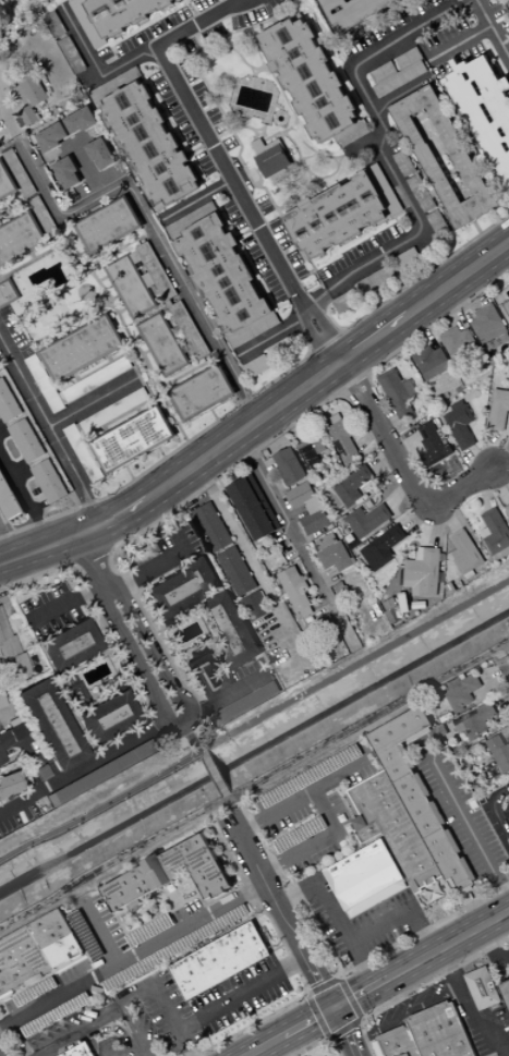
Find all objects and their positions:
road: (249, 0)
building: (404, 0)
building: (183, 1)
road: (323, 7)
park: (15, 11)
road: (194, 11)
building: (355, 11)
building: (124, 13)
building: (88, 23)
building: (56, 24)
road: (492, 29)
road: (244, 33)
road: (459, 44)
building: (73, 56)
road: (140, 57)
road: (246, 63)
road: (264, 66)
road: (253, 72)
road: (259, 72)
building: (398, 72)
building: (315, 83)
building: (117, 84)
building: (33, 92)
building: (78, 93)
road: (402, 93)
building: (102, 105)
building: (486, 107)
building: (87, 108)
building: (28, 117)
road: (9, 118)
building: (80, 122)
road: (238, 128)
road: (294, 130)
road: (233, 133)
building: (57, 135)
road: (256, 135)
building: (152, 145)
building: (266, 146)
road: (380, 146)
road: (9, 147)
building: (72, 147)
building: (100, 154)
road: (43, 157)
road: (308, 157)
road: (331, 157)
road: (335, 160)
building: (274, 161)
building: (405, 163)
road: (228, 170)
road: (259, 170)
building: (471, 171)
road: (308, 172)
building: (20, 173)
building: (66, 173)
road: (258, 174)
building: (280, 177)
road: (311, 179)
building: (7, 182)
road: (310, 185)
road: (73, 187)
building: (386, 190)
building: (422, 194)
road: (291, 196)
road: (197, 199)
road: (16, 205)
building: (161, 207)
road: (3, 209)
road: (8, 211)
road: (493, 214)
building: (43, 215)
road: (4, 216)
road: (80, 217)
building: (339, 217)
building: (192, 220)
building: (439, 223)
building: (109, 226)
road: (153, 229)
road: (477, 229)
building: (180, 238)
building: (21, 240)
road: (65, 241)
road: (119, 245)
road: (124, 246)
road: (34, 256)
building: (408, 259)
road: (33, 260)
road: (88, 263)
road: (83, 266)
road: (93, 267)
road: (87, 271)
road: (78, 272)
building: (225, 275)
road: (1, 277)
road: (458, 277)
building: (148, 280)
building: (377, 280)
building: (131, 287)
building: (8, 293)
road: (116, 298)
road: (315, 299)
road: (108, 300)
road: (462, 301)
building: (347, 302)
building: (169, 303)
road: (303, 304)
road: (110, 305)
building: (507, 306)
road: (453, 308)
road: (122, 311)
road: (331, 319)
road: (296, 321)
road: (434, 324)
building: (490, 327)
road: (425, 329)
road: (58, 330)
building: (253, 331)
road: (330, 332)
road: (375, 337)
road: (137, 339)
road: (305, 340)
road: (260, 342)
road: (316, 342)
building: (458, 343)
building: (162, 344)
building: (83, 349)
building: (281, 349)
road: (146, 352)
road: (143, 355)
road: (110, 360)
building: (432, 363)
road: (105, 365)
building: (258, 366)
road: (156, 372)
road: (187, 373)
road: (369, 373)
road: (192, 375)
building: (98, 379)
road: (355, 380)
road: (160, 381)
building: (46, 384)
road: (262, 389)
building: (203, 392)
building: (399, 392)
road: (343, 393)
building: (64, 398)
road: (94, 402)
building: (8, 403)
building: (498, 410)
building: (116, 411)
road: (138, 411)
road: (129, 412)
road: (385, 414)
road: (215, 415)
road: (288, 422)
building: (462, 424)
building: (82, 429)
road: (245, 429)
road: (51, 430)
road: (385, 434)
road: (368, 436)
building: (344, 437)
building: (134, 439)
building: (26, 440)
road: (408, 445)
building: (435, 445)
building: (313, 447)
road: (494, 449)
road: (162, 452)
building: (84, 453)
road: (383, 459)
road: (501, 459)
road: (475, 462)
road: (267, 466)
building: (290, 466)
road: (501, 470)
road: (130, 473)
building: (50, 481)
road: (463, 485)
road: (498, 485)
building: (350, 489)
road: (486, 491)
road: (398, 493)
building: (9, 499)
road: (25, 499)
road: (231, 499)
road: (234, 505)
building: (255, 507)
building: (308, 508)
building: (507, 508)
road: (237, 511)
road: (123, 513)
road: (296, 515)
road: (449, 515)
road: (419, 517)
road: (284, 520)
building: (368, 520)
road: (246, 525)
road: (437, 525)
building: (213, 527)
road: (142, 531)
road: (250, 531)
building: (496, 533)
road: (238, 535)
road: (8, 545)
road: (49, 546)
building: (384, 548)
road: (105, 550)
building: (334, 553)
road: (88, 554)
building: (145, 554)
building: (468, 554)
road: (89, 558)
road: (74, 562)
road: (159, 566)
building: (424, 567)
building: (238, 572)
road: (328, 576)
building: (296, 587)
building: (181, 590)
road: (65, 602)
building: (256, 606)
road: (105, 630)
road: (157, 630)
building: (231, 630)
building: (70, 646)
road: (505, 650)
building: (11, 653)
road: (506, 661)
building: (207, 678)
road: (110, 685)
building: (464, 693)
building: (75, 695)
road: (229, 696)
building: (1, 701)
building: (247, 703)
building: (109, 717)
building: (478, 721)
road: (179, 724)
building: (52, 725)
road: (192, 738)
building: (4, 739)
building: (500, 752)
road: (17, 753)
road: (41, 755)
building: (1, 757)
road: (80, 766)
building: (41, 773)
building: (100, 773)
road: (217, 774)
building: (10, 784)
road: (253, 784)
road: (500, 793)
building: (422, 796)
road: (346, 797)
road: (102, 805)
road: (232, 806)
road: (277, 812)
road: (501, 813)
road: (330, 817)
road: (464, 820)
road: (306, 821)
road: (347, 829)
building: (399, 836)
building: (171, 875)
building: (368, 878)
road: (180, 907)
road: (168, 912)
road: (402, 912)
road: (283, 913)
road: (336, 918)
building: (53, 930)
road: (101, 934)
road: (448, 947)
road: (277, 948)
road: (286, 948)
road: (493, 949)
road: (133, 956)
building: (220, 961)
building: (22, 962)
road: (69, 966)
road: (342, 970)
road: (328, 984)
building: (484, 987)
road: (417, 988)
building: (506, 991)
road: (242, 993)
road: (308, 993)
road: (362, 995)
road: (352, 997)
road: (165, 1003)
road: (472, 1012)
road: (320, 1015)
road: (407, 1016)
road: (361, 1021)
road: (101, 1022)
road: (311, 1023)
road: (344, 1028)
building: (443, 1031)
road: (346, 1032)
parking lot: (490, 1032)
road: (96, 1033)
road: (331, 1039)
road: (319, 1042)
building: (400, 1042)
road: (7, 1043)
road: (268, 1046)
building: (81, 1051)
road: (133, 1053)
road: (141, 1053)
building: (328, 1055)

